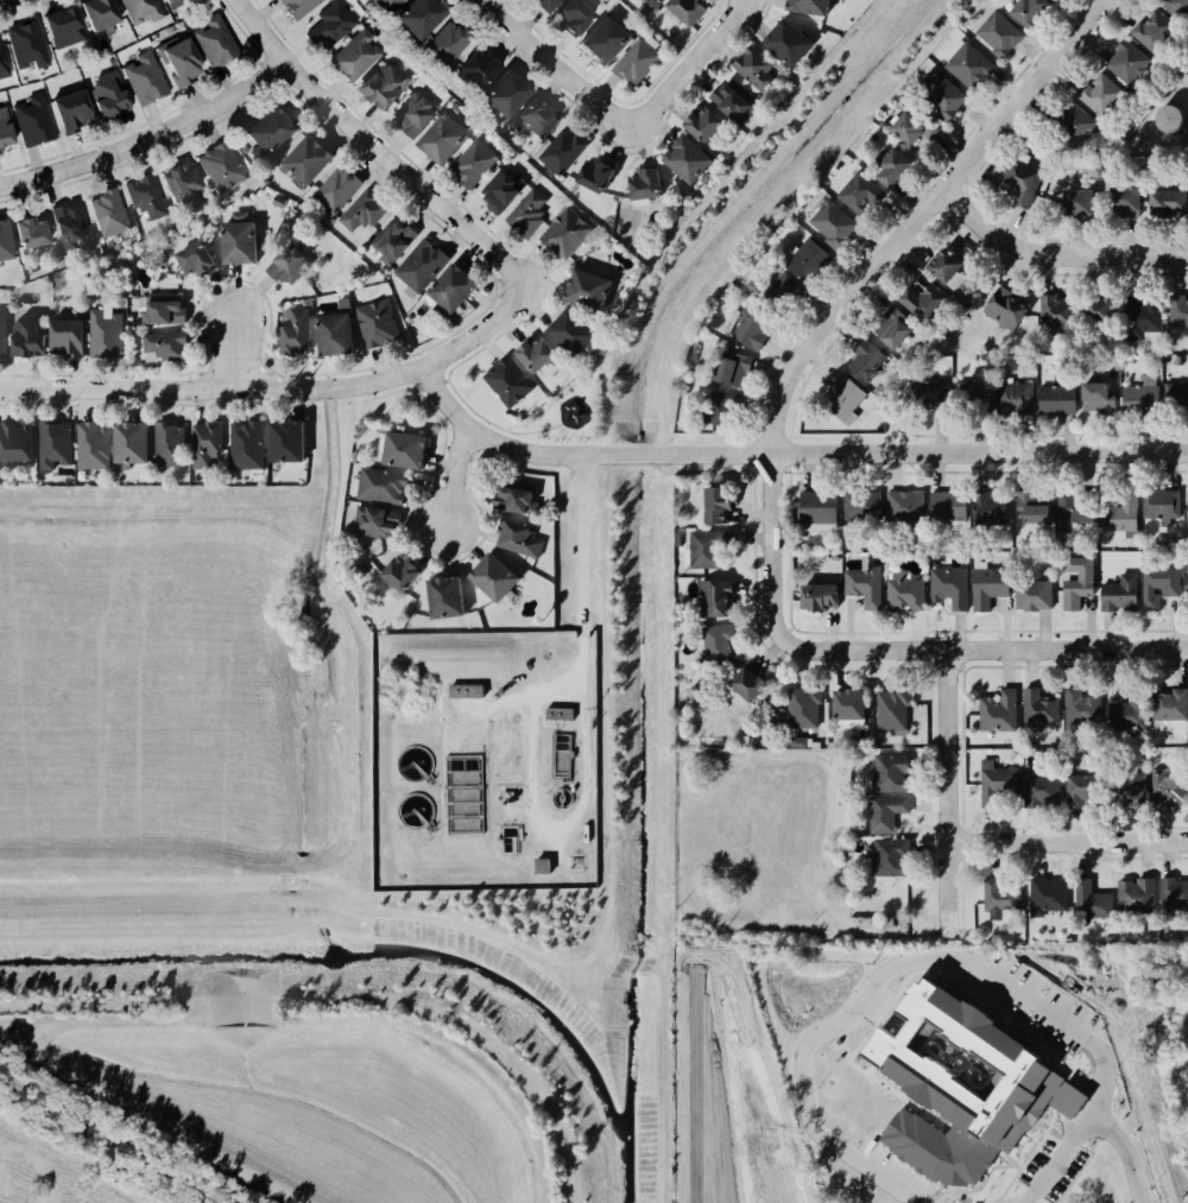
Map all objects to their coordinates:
building: (658, 2)
building: (177, 4)
building: (392, 5)
building: (551, 5)
building: (303, 6)
building: (808, 6)
building: (1180, 6)
building: (693, 10)
building: (146, 11)
building: (1036, 11)
building: (581, 17)
building: (425, 18)
building: (334, 27)
building: (68, 30)
building: (1155, 32)
building: (1001, 34)
building: (611, 39)
building: (220, 43)
building: (453, 43)
building: (794, 43)
building: (31, 45)
building: (358, 57)
building: (5, 59)
building: (183, 61)
building: (640, 61)
road: (685, 62)
building: (1129, 62)
road: (551, 65)
building: (972, 67)
building: (482, 69)
building: (758, 70)
building: (148, 80)
building: (390, 86)
building: (946, 90)
building: (513, 95)
building: (113, 96)
building: (1101, 96)
building: (734, 101)
building: (77, 112)
building: (417, 114)
building: (543, 118)
building: (37, 121)
building: (709, 125)
building: (1081, 127)
building: (918, 128)
building: (7, 131)
building: (276, 131)
road: (150, 138)
building: (445, 139)
road: (373, 148)
building: (563, 152)
building: (311, 159)
building: (691, 159)
building: (474, 164)
building: (225, 167)
building: (898, 167)
building: (599, 175)
building: (184, 182)
building: (1024, 182)
building: (649, 184)
building: (337, 190)
building: (503, 191)
building: (862, 194)
building: (146, 197)
building: (1130, 198)
building: (277, 201)
building: (1083, 202)
building: (1171, 202)
building: (365, 211)
building: (529, 213)
building: (110, 214)
building: (836, 226)
building: (71, 227)
building: (568, 233)
building: (37, 234)
building: (241, 240)
building: (393, 241)
building: (7, 242)
road: (1053, 254)
building: (811, 259)
building: (198, 260)
building: (287, 264)
building: (955, 265)
building: (422, 267)
building: (788, 280)
road: (857, 284)
building: (457, 289)
building: (593, 290)
building: (927, 302)
building: (1009, 309)
building: (1106, 309)
building: (1060, 311)
building: (1178, 311)
building: (1146, 321)
building: (378, 324)
building: (753, 329)
building: (897, 329)
building: (576, 333)
building: (4, 334)
building: (107, 334)
building: (339, 334)
building: (296, 335)
building: (31, 336)
building: (69, 337)
building: (168, 347)
road: (234, 352)
building: (538, 354)
building: (868, 361)
building: (739, 369)
building: (510, 381)
road: (277, 390)
building: (975, 394)
building: (1144, 395)
building: (1176, 397)
building: (847, 398)
building: (1016, 398)
building: (1100, 399)
building: (1059, 400)
park: (569, 406)
building: (727, 410)
building: (292, 441)
building: (19, 443)
building: (135, 443)
building: (56, 444)
building: (209, 444)
building: (172, 445)
building: (246, 445)
building: (95, 447)
road: (501, 447)
building: (410, 450)
road: (929, 451)
road: (645, 454)
road: (454, 479)
building: (385, 486)
building: (518, 501)
building: (722, 505)
building: (865, 506)
building: (947, 506)
building: (1163, 506)
building: (908, 507)
building: (1036, 508)
building: (991, 511)
building: (821, 512)
building: (1121, 517)
building: (378, 523)
building: (518, 538)
road: (577, 544)
building: (709, 549)
building: (405, 574)
building: (493, 578)
building: (1079, 583)
building: (867, 587)
building: (1161, 587)
building: (953, 588)
building: (992, 588)
building: (908, 594)
building: (1123, 594)
building: (1035, 596)
building: (449, 597)
building: (824, 597)
building: (720, 599)
building: (720, 644)
road: (979, 647)
road: (576, 653)
road: (550, 685)
building: (750, 689)
building: (466, 690)
building: (1173, 705)
building: (1085, 708)
building: (853, 710)
building: (1042, 710)
building: (1000, 713)
building: (558, 714)
building: (1130, 715)
road: (577, 743)
road: (526, 762)
building: (892, 774)
building: (998, 783)
building: (1086, 787)
building: (1170, 787)
building: (1136, 790)
building: (1044, 791)
road: (946, 792)
building: (889, 813)
road: (554, 821)
road: (1067, 842)
building: (893, 857)
building: (542, 867)
building: (1050, 895)
building: (1175, 895)
building: (1003, 898)
building: (1139, 898)
building: (1094, 903)
road: (928, 957)
building: (960, 1088)
building: (1074, 1101)
road: (1121, 1152)

